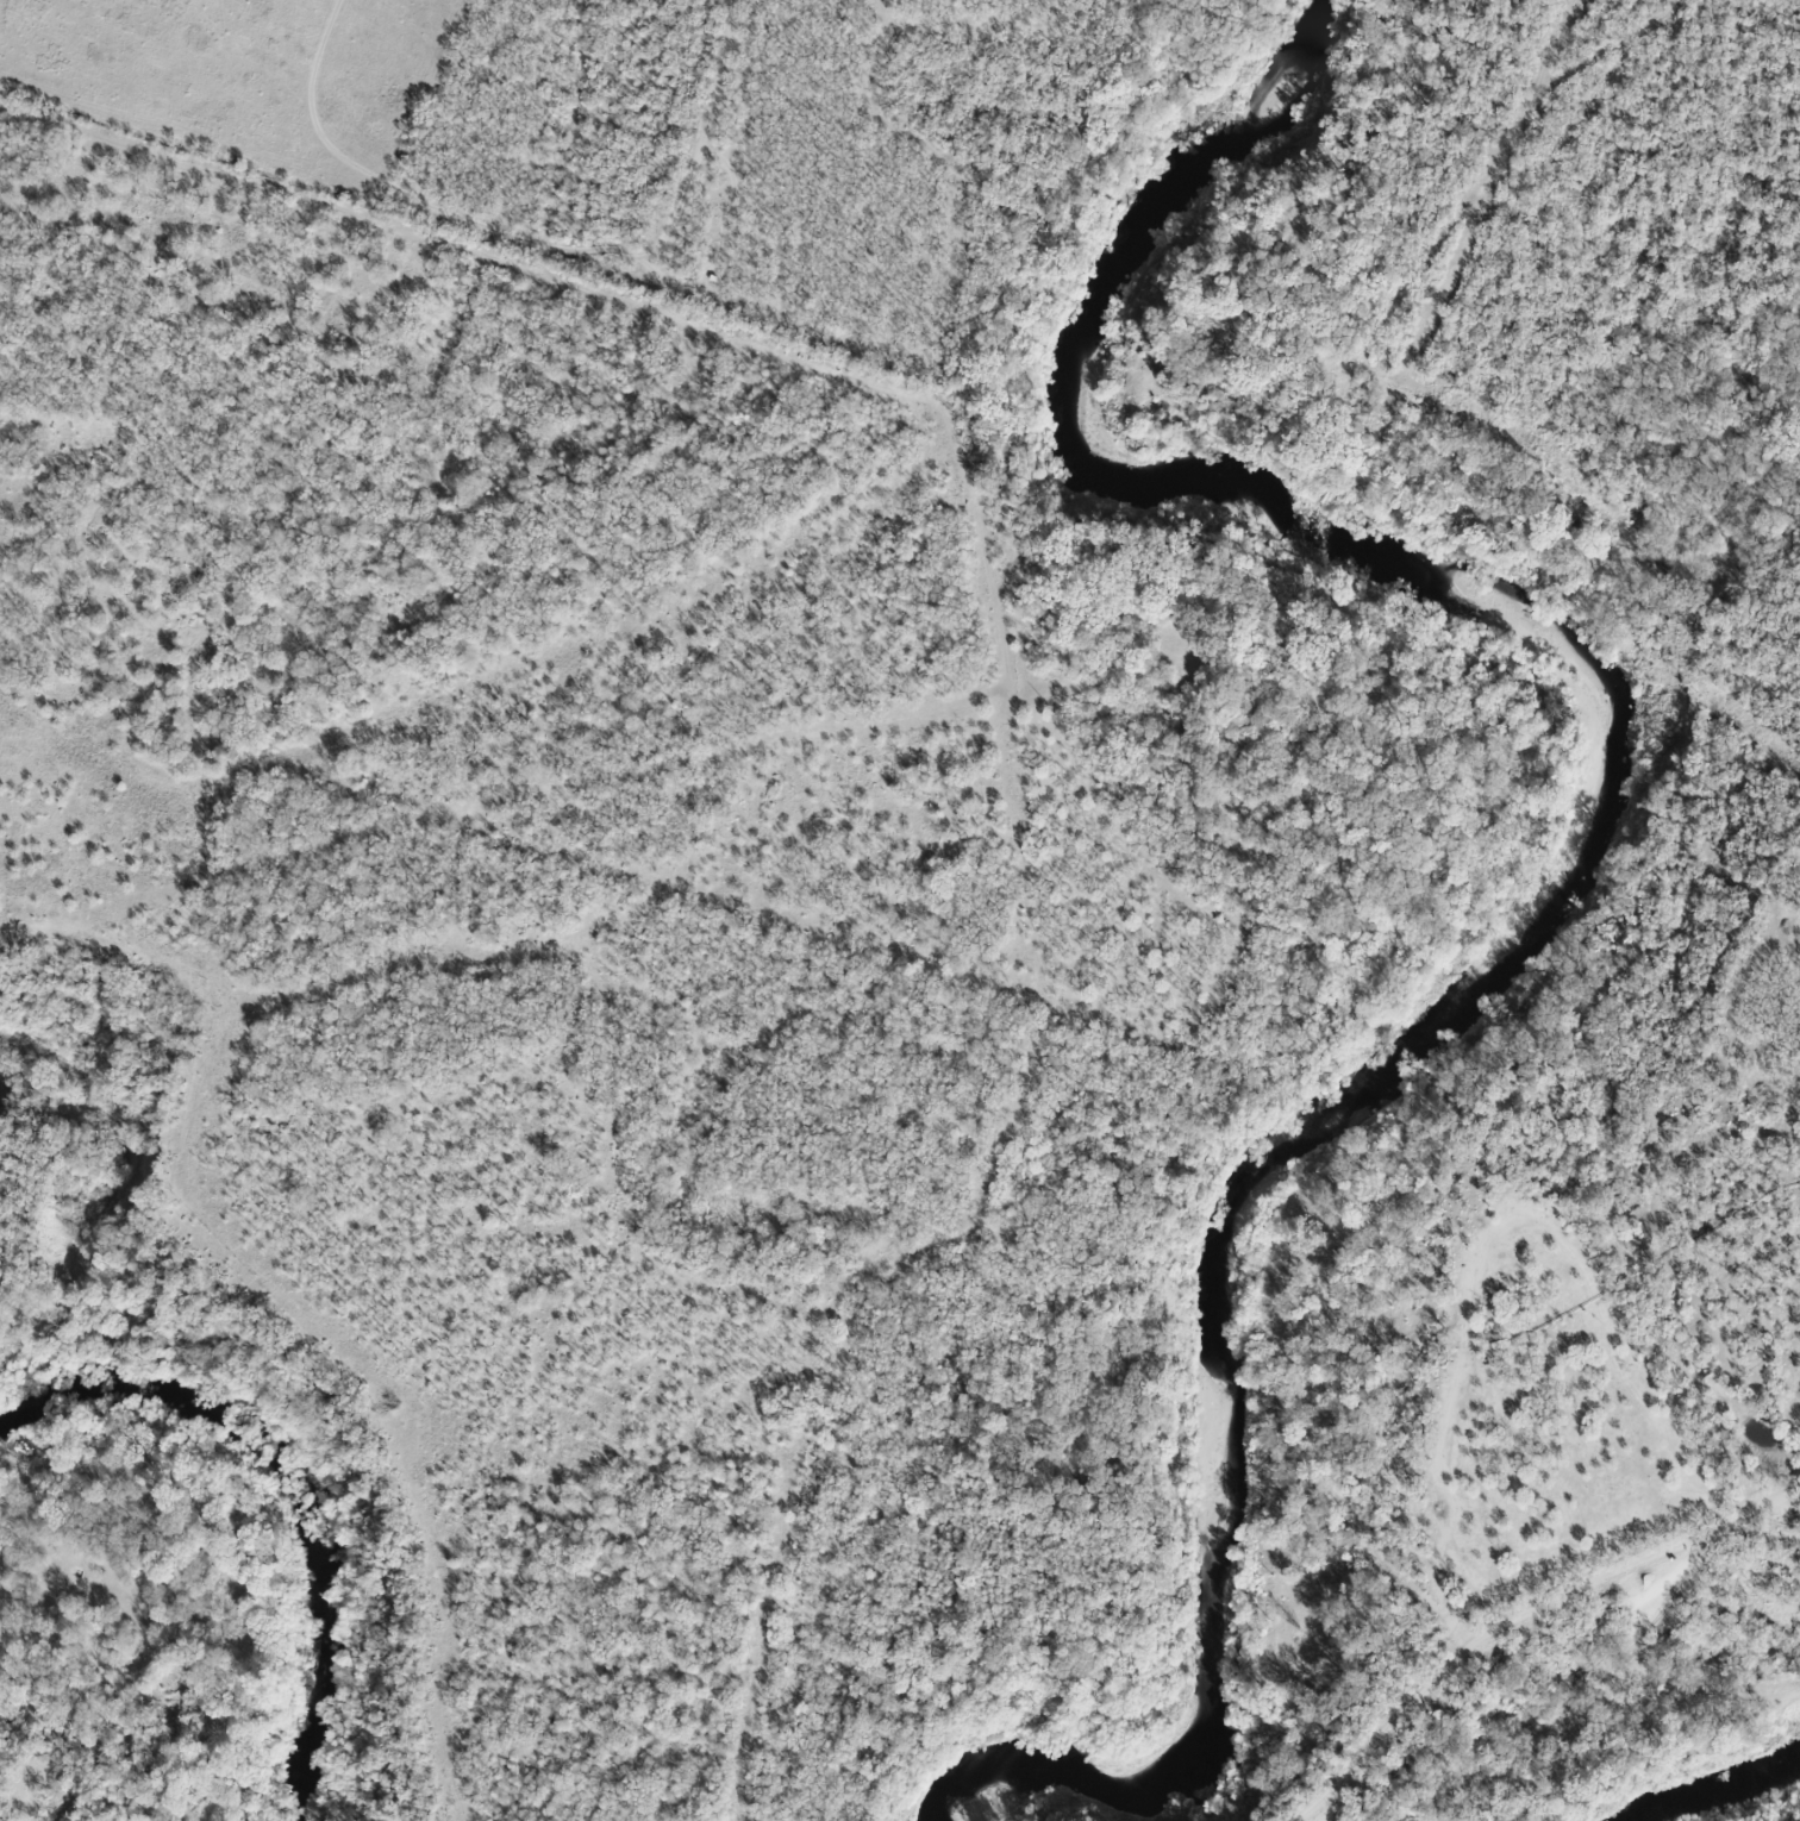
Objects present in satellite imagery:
river: (1583, 870)
river: (317, 1482)
river: (1726, 1798)

